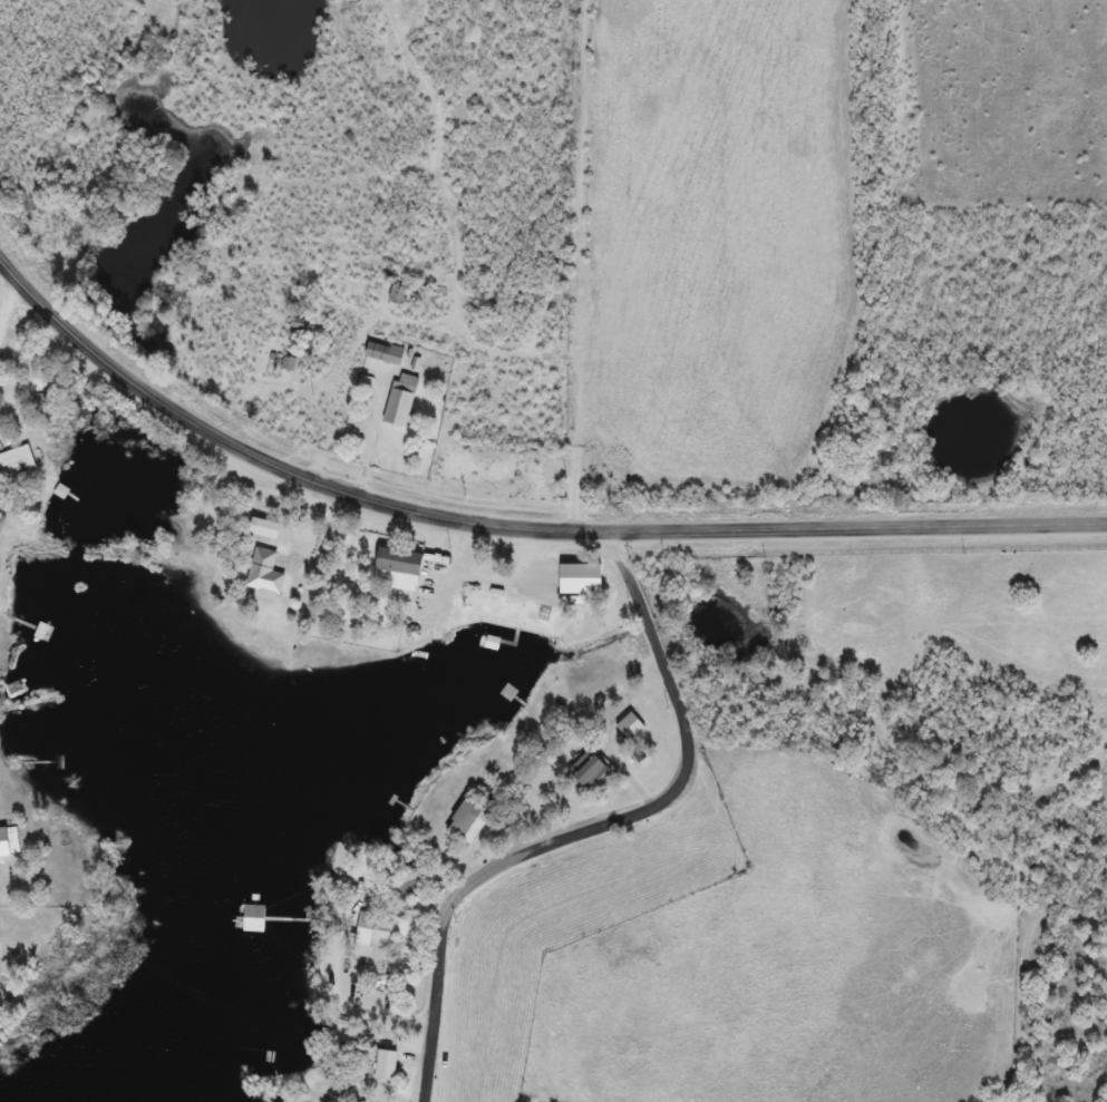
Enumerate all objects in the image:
building: (399, 295)
building: (387, 354)
building: (404, 400)
building: (20, 462)
road: (512, 527)
building: (269, 528)
building: (269, 575)
building: (407, 577)
building: (592, 769)
road: (643, 806)
building: (470, 825)
building: (412, 885)
building: (265, 917)
road: (434, 1036)
building: (390, 1065)

